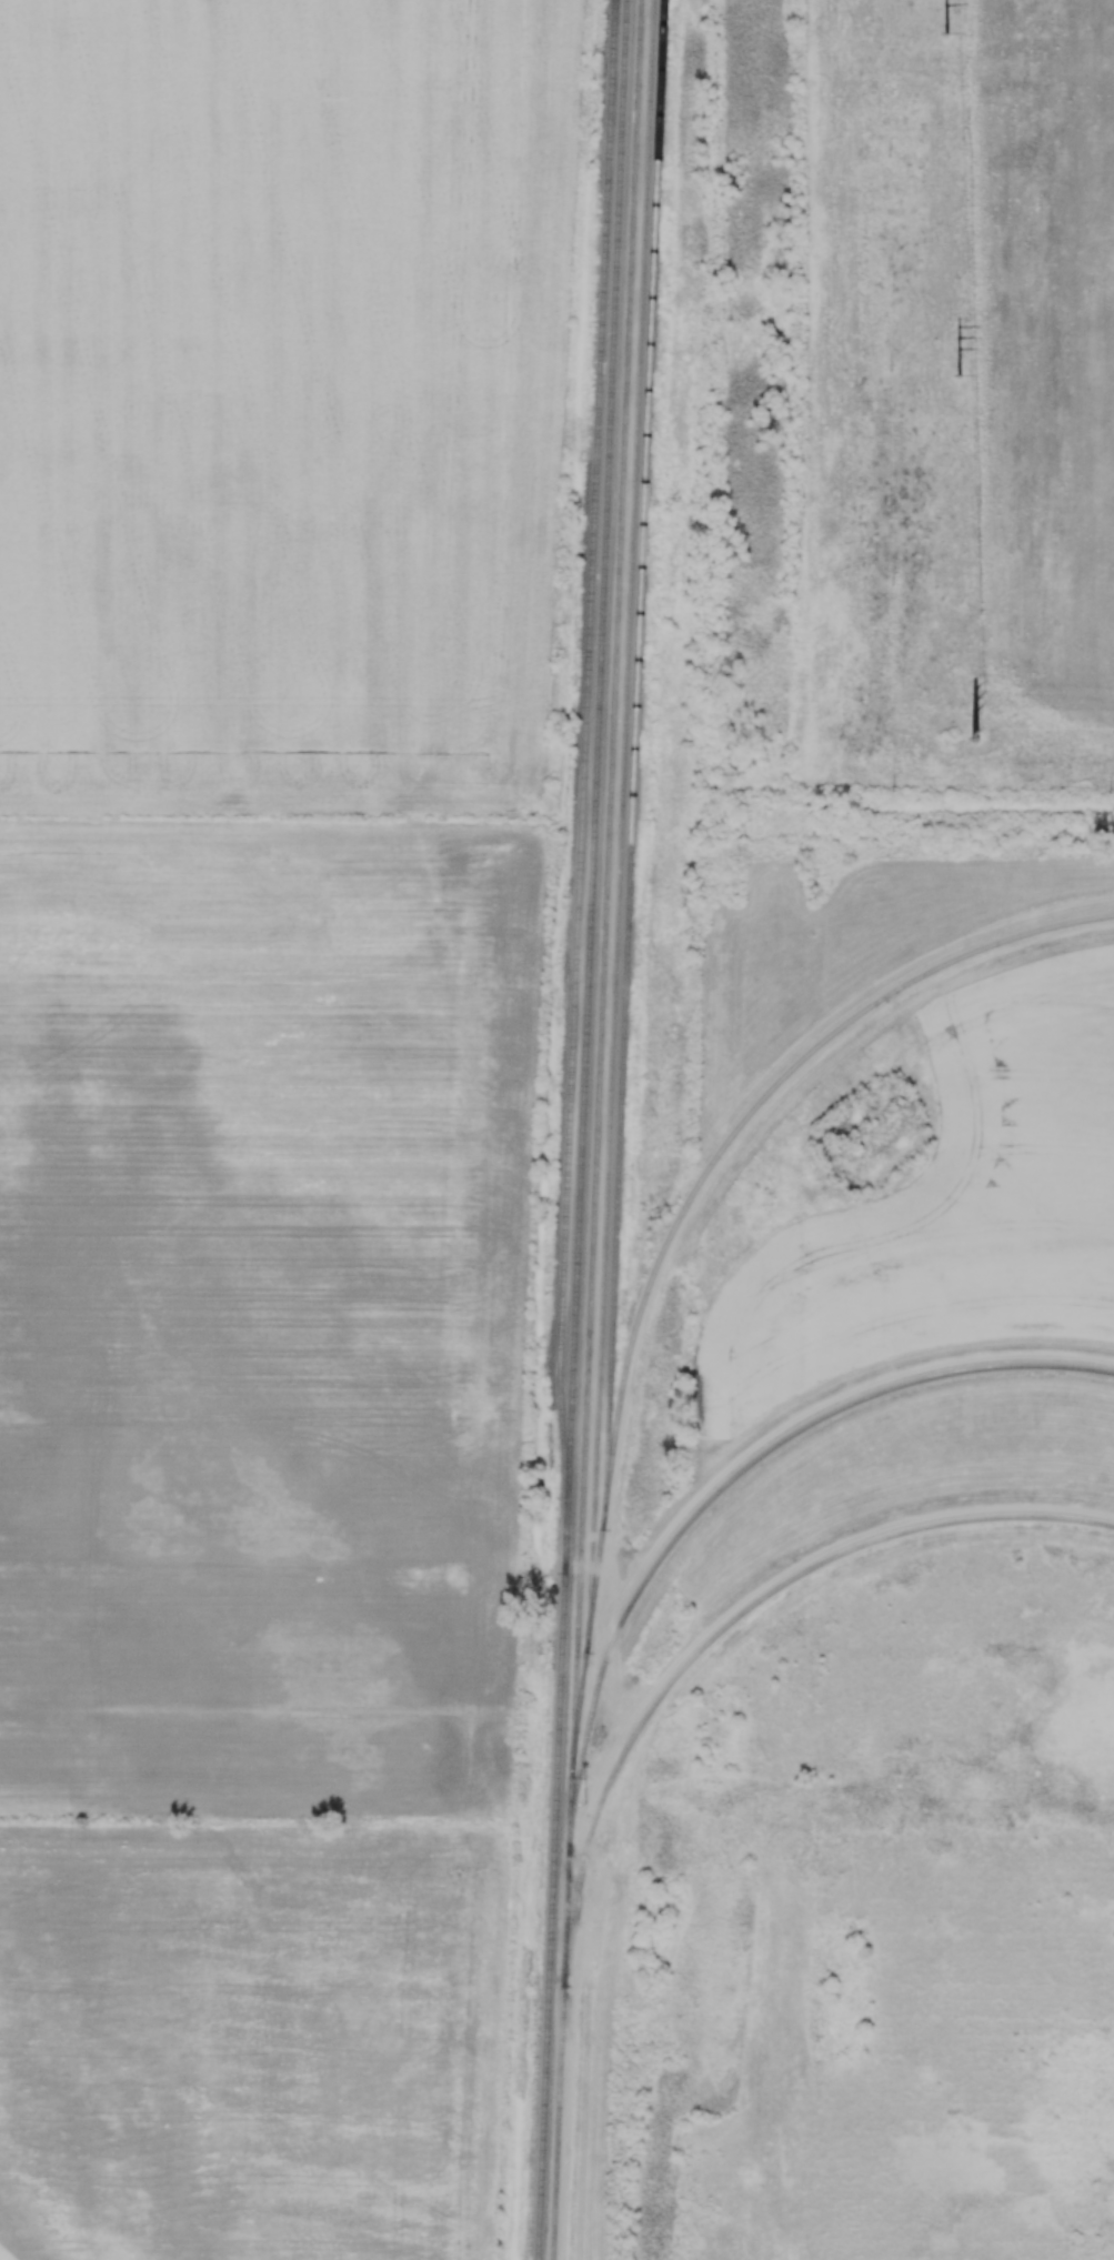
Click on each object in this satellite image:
power tower: (943, 38)
power tower: (955, 375)
power tower: (972, 744)
railway: (586, 781)
railway: (635, 786)
railway: (623, 822)
railway: (608, 890)
railway: (584, 1129)
railway: (615, 1462)
railway: (745, 1469)
road: (789, 1570)
railway: (739, 1618)

